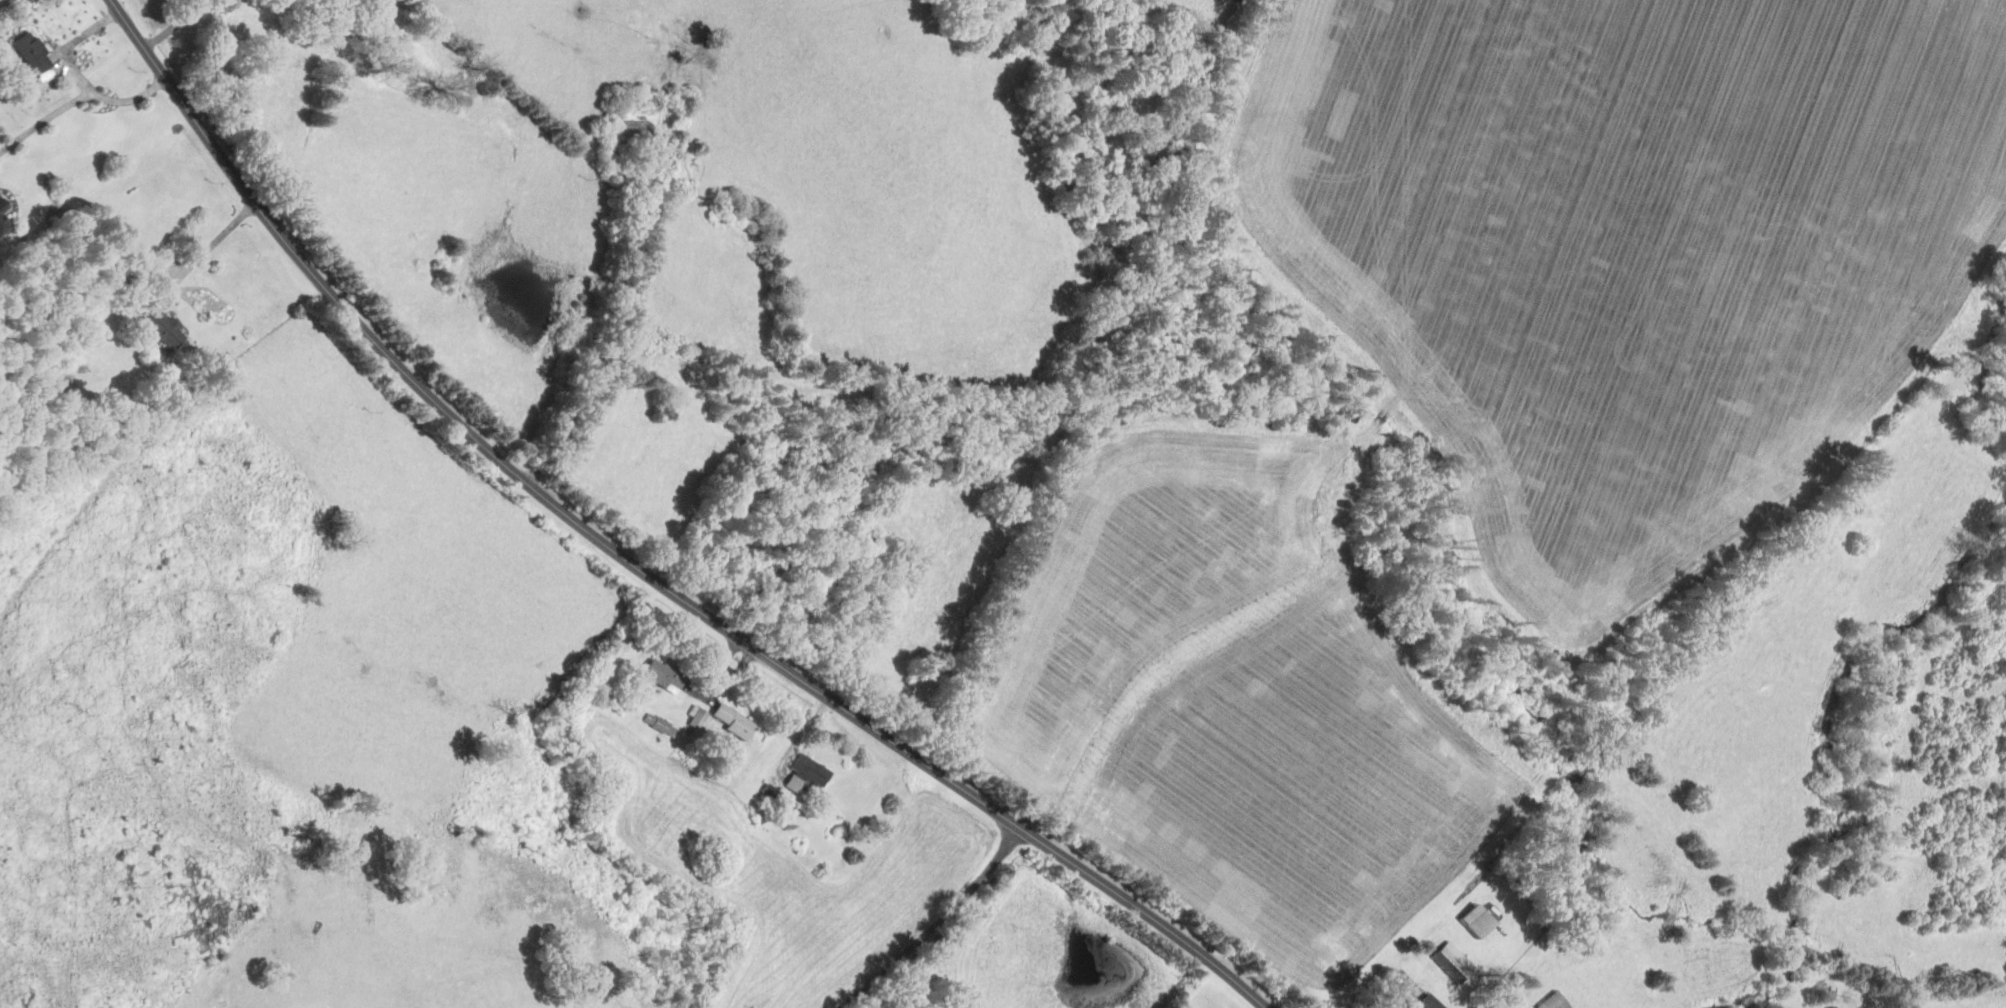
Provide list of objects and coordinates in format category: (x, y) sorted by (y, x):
road: (172, 25)
building: (27, 52)
road: (79, 76)
road: (45, 120)
building: (632, 131)
building: (1, 206)
building: (1, 224)
road: (211, 242)
road: (608, 322)
building: (157, 324)
road: (638, 559)
building: (659, 675)
road: (714, 687)
building: (694, 717)
building: (729, 721)
building: (655, 724)
building: (803, 771)
road: (929, 917)
building: (1476, 924)
building: (1451, 961)
road: (1401, 995)
building: (1424, 1002)
building: (1549, 1002)

